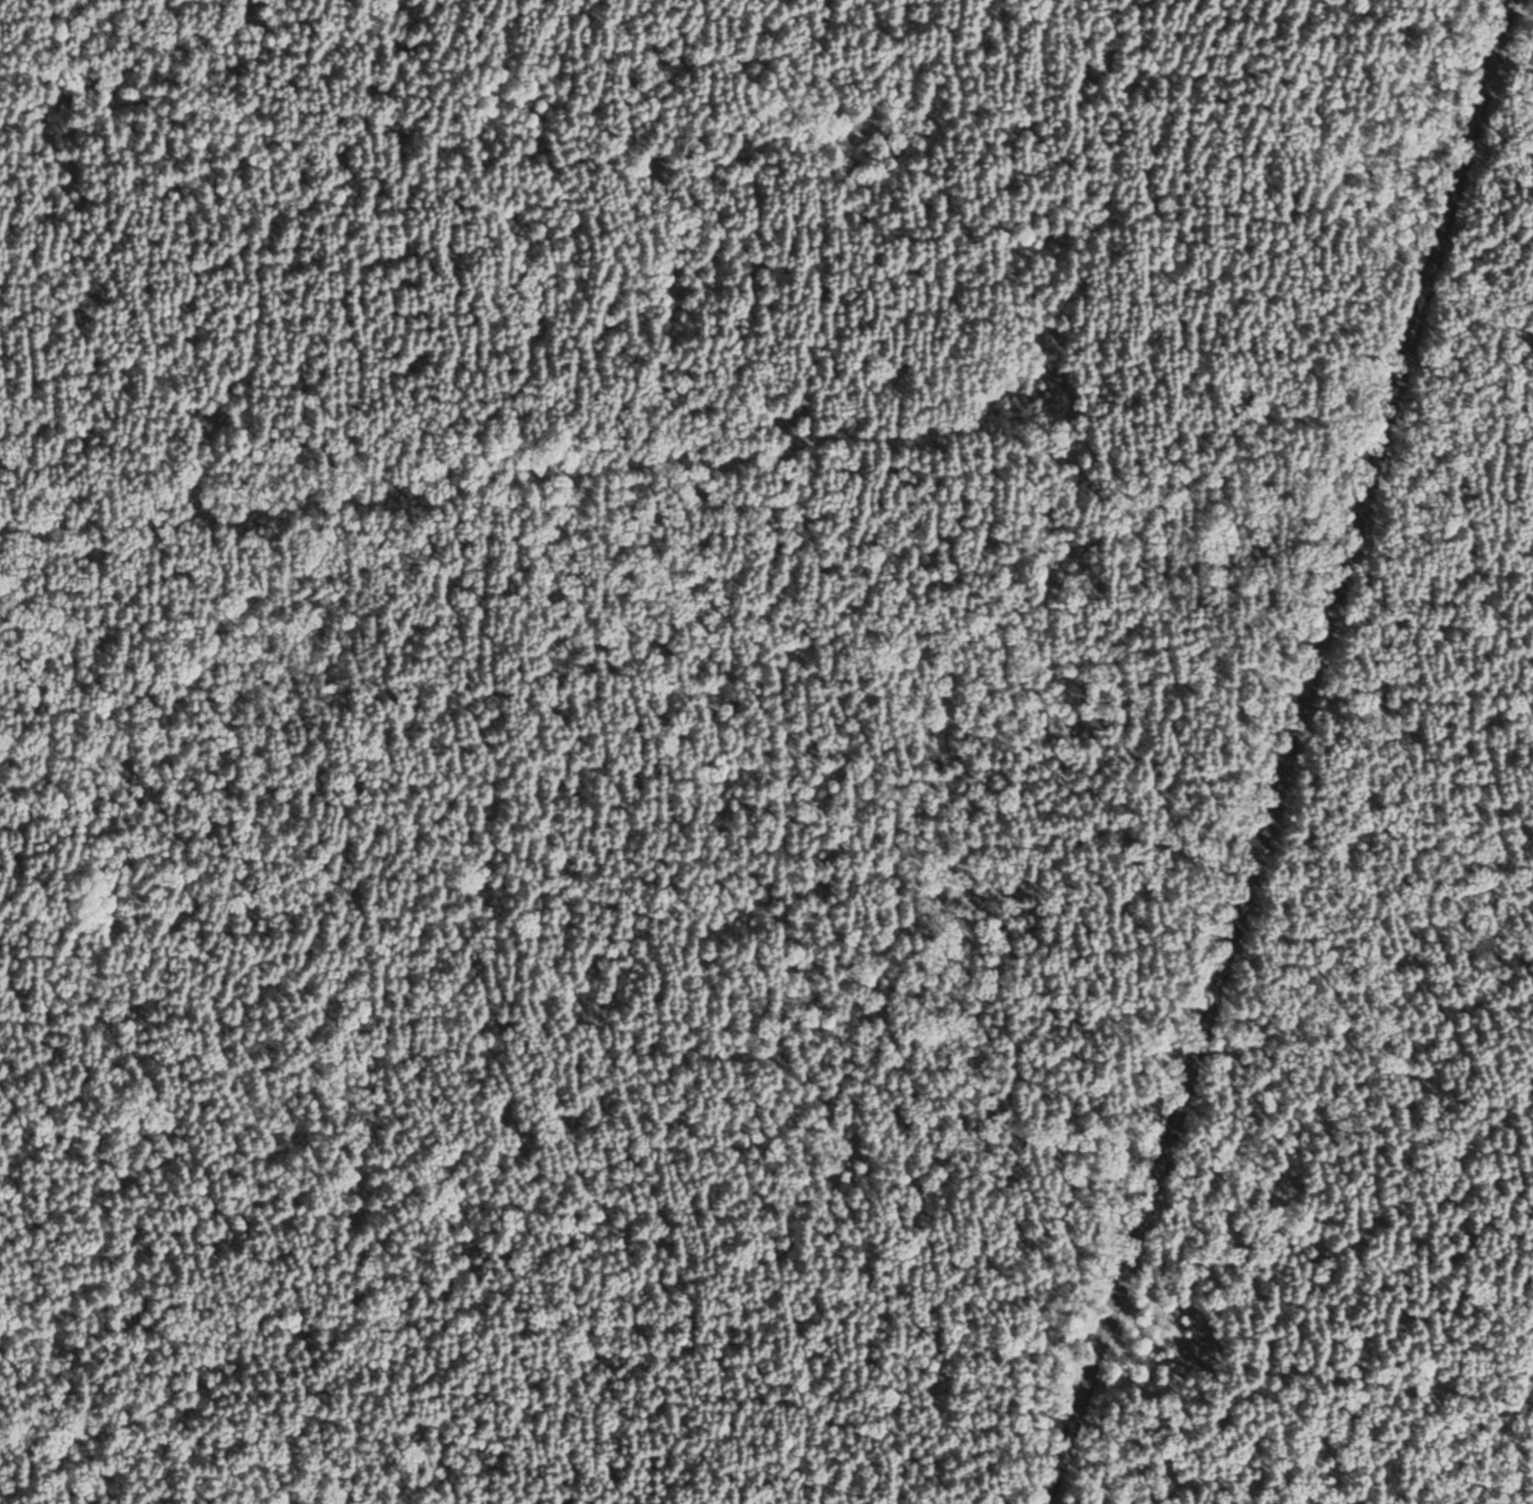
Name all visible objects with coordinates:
road: (1285, 755)

